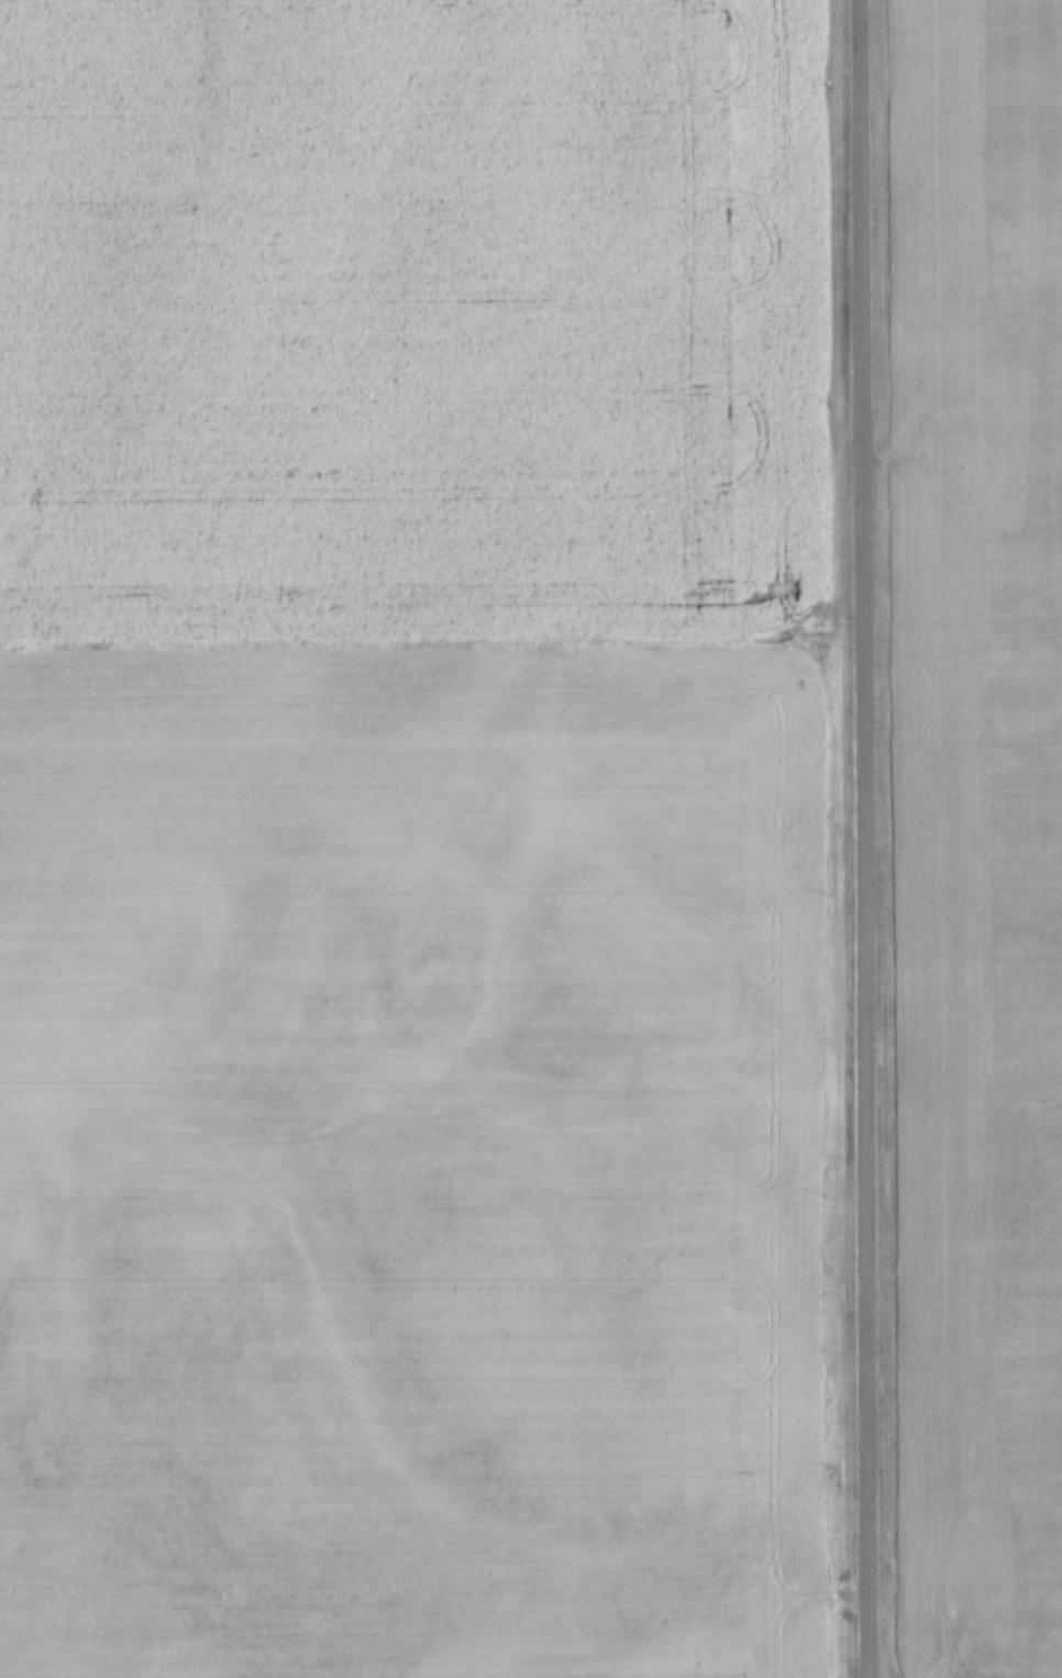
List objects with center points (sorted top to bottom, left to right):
road: (865, 839)

